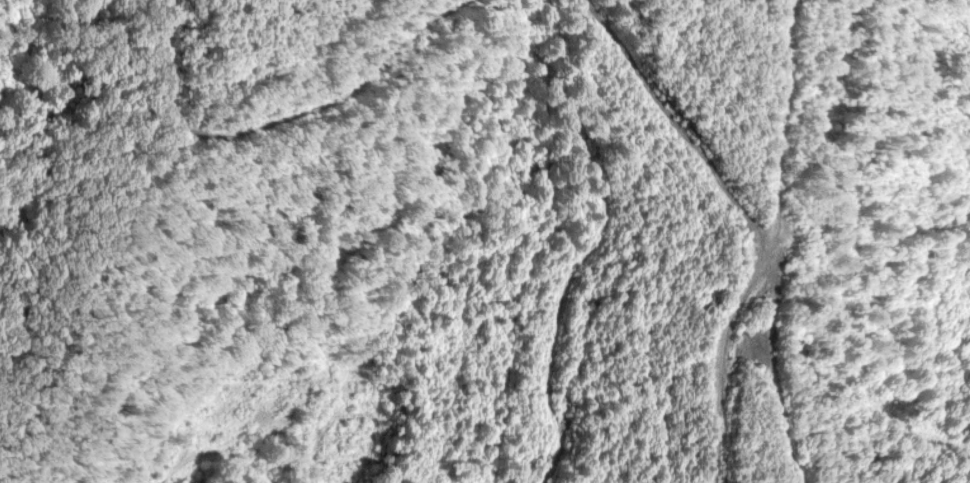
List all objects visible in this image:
road: (289, 121)
road: (752, 222)

